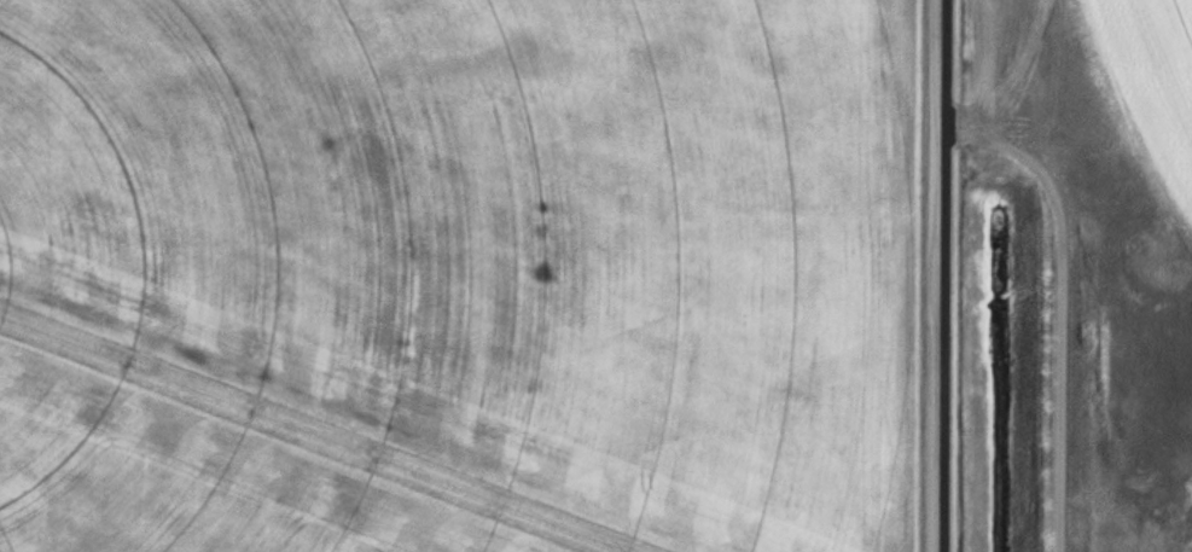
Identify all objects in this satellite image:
crop: (1136, 93)
crop: (459, 275)
wastewater plant: (595, 275)

